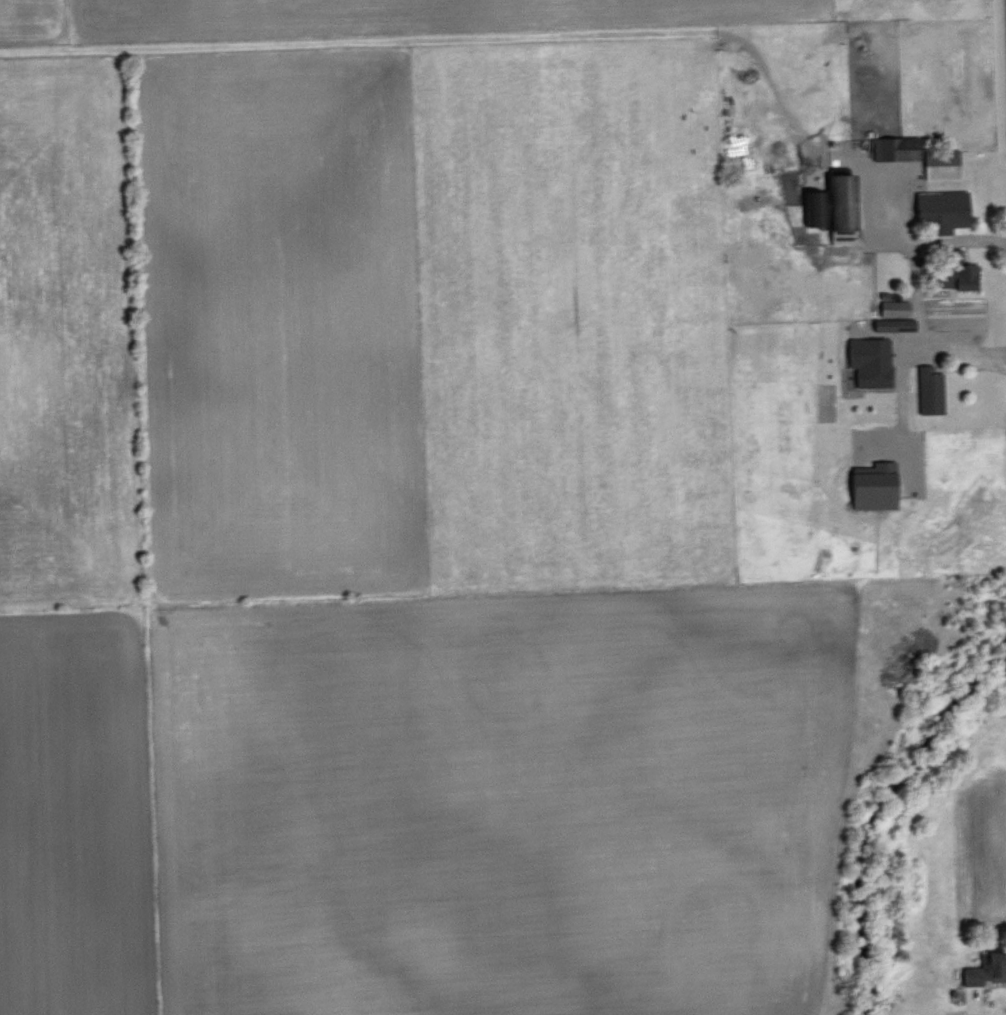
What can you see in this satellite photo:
building: (896, 148)
building: (941, 164)
building: (942, 209)
road: (958, 242)
building: (960, 277)
road: (918, 307)
building: (894, 308)
building: (870, 361)
building: (930, 390)
building: (873, 489)
building: (987, 967)

